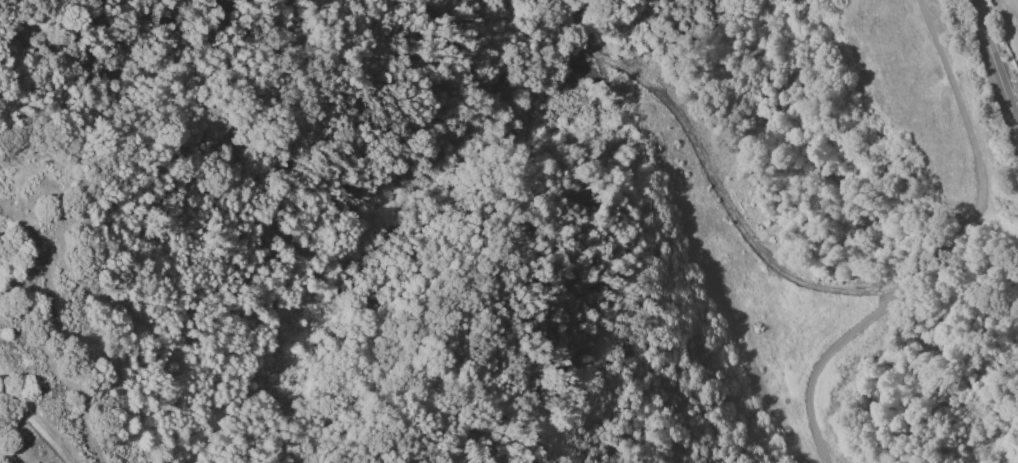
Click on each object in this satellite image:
road: (990, 79)
road: (942, 251)
road: (33, 417)

